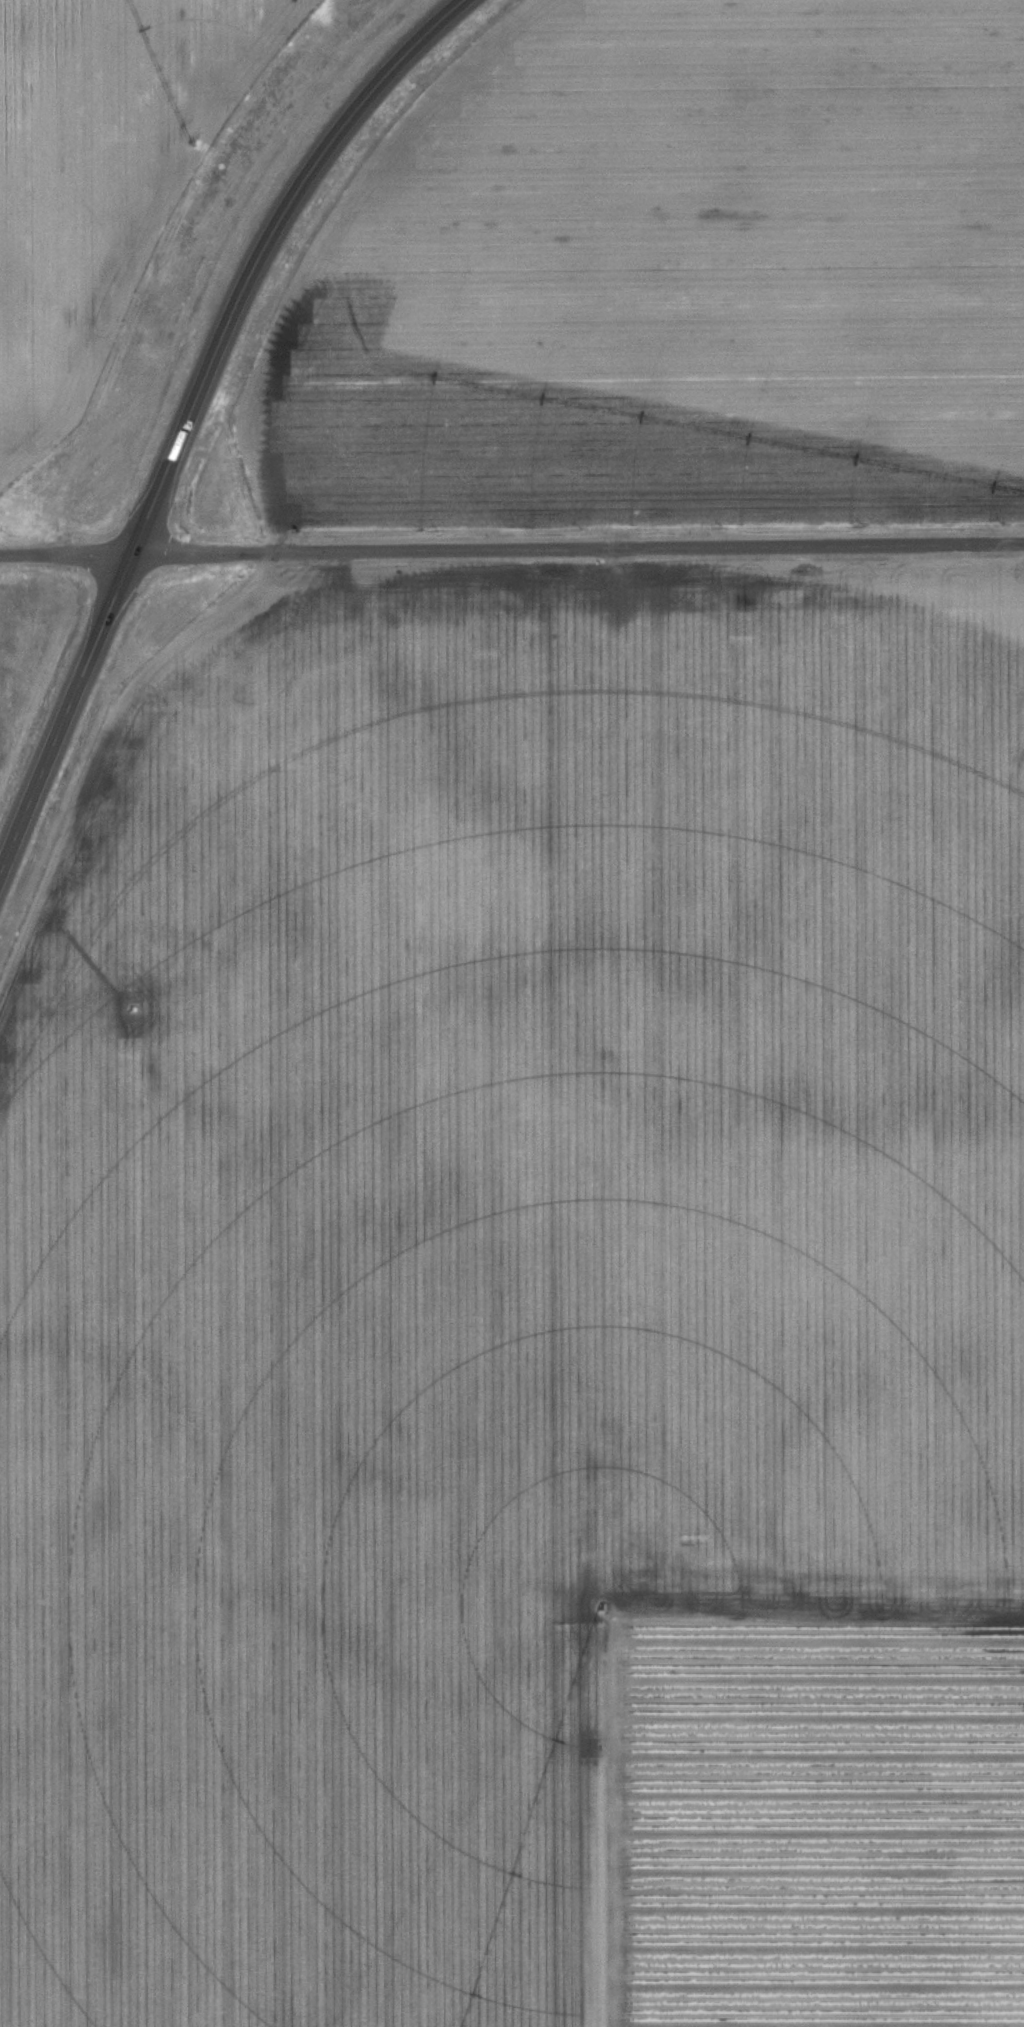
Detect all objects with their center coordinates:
crop: (98, 175)
crop: (667, 275)
road: (190, 409)
road: (511, 551)
crop: (523, 1318)

